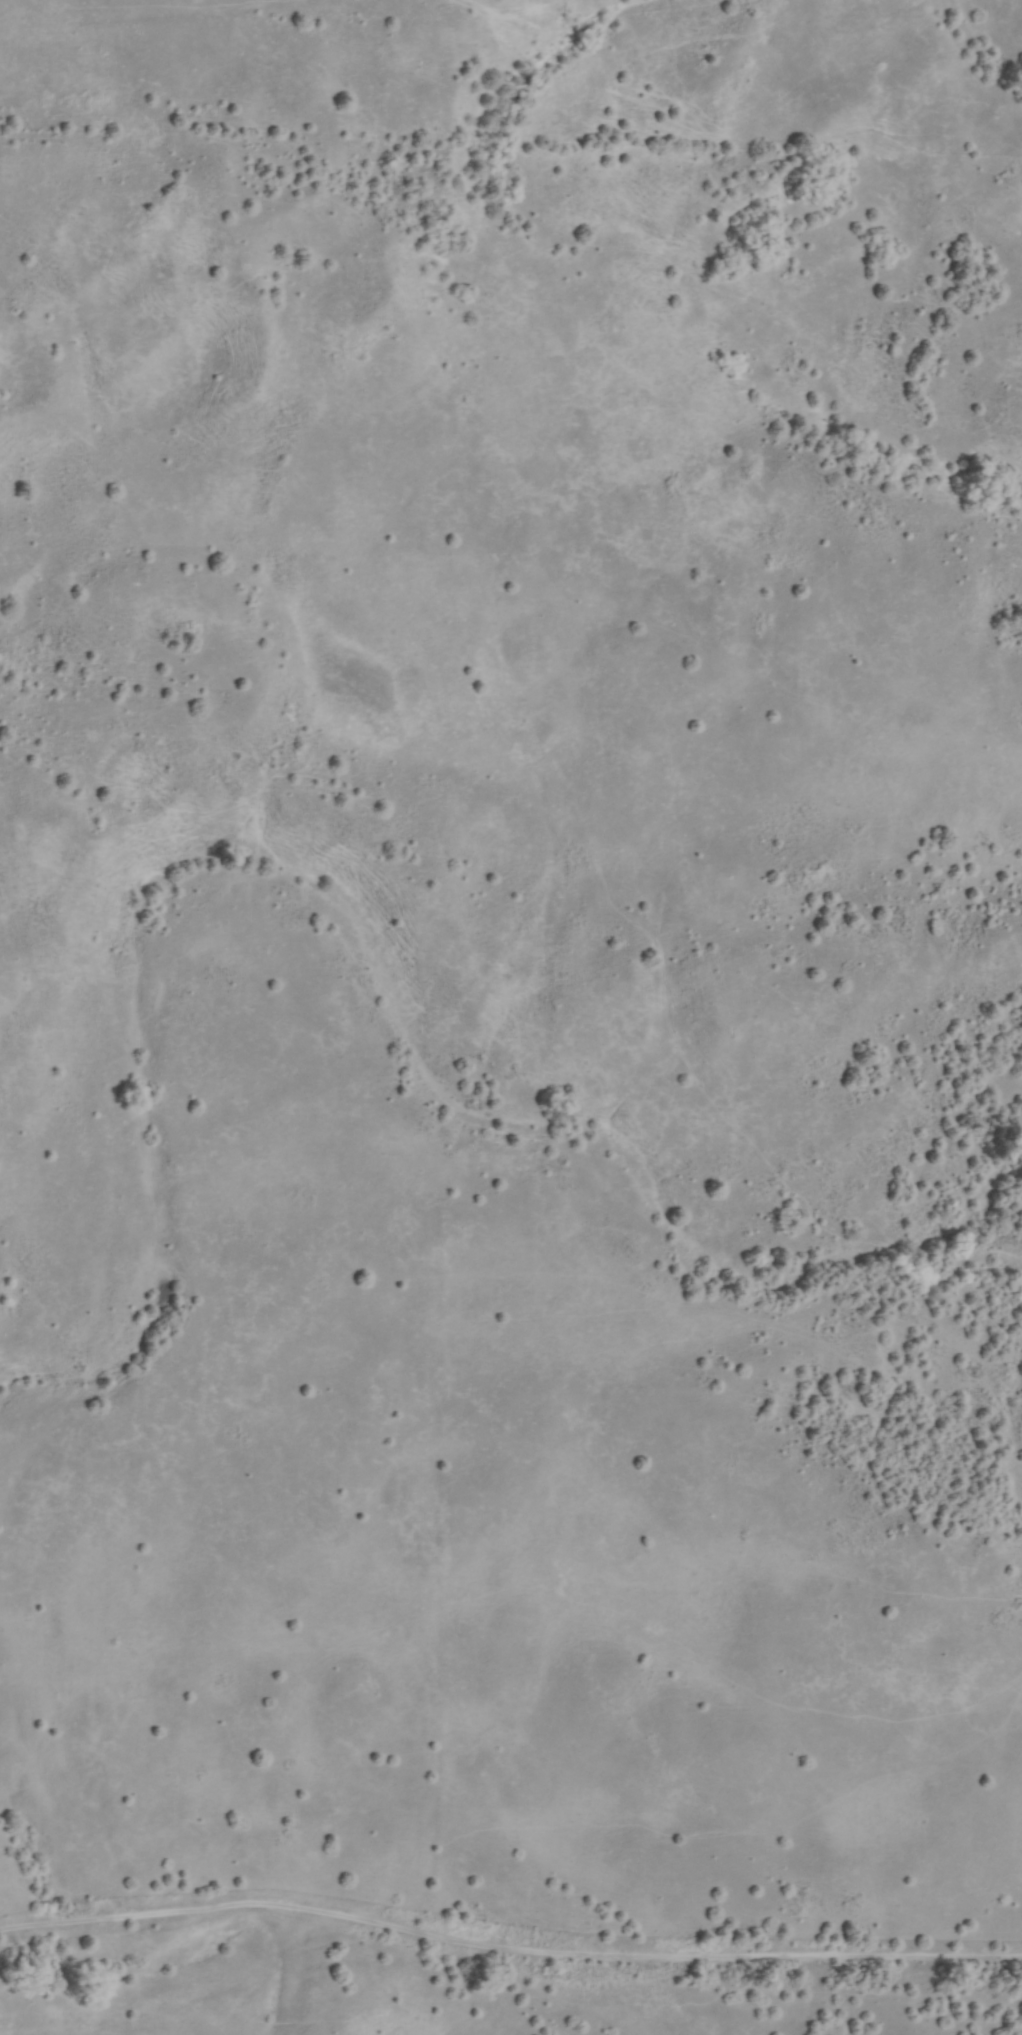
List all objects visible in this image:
road: (508, 1949)

